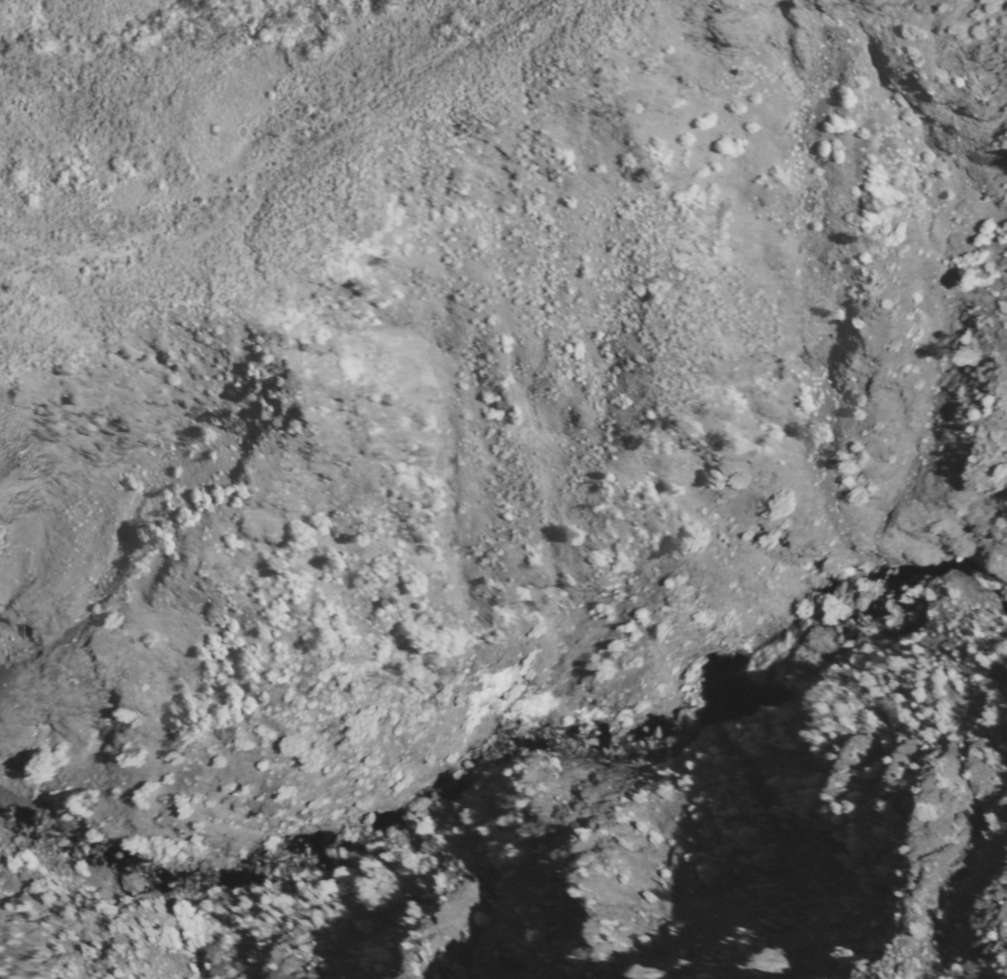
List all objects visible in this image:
river: (507, 748)

